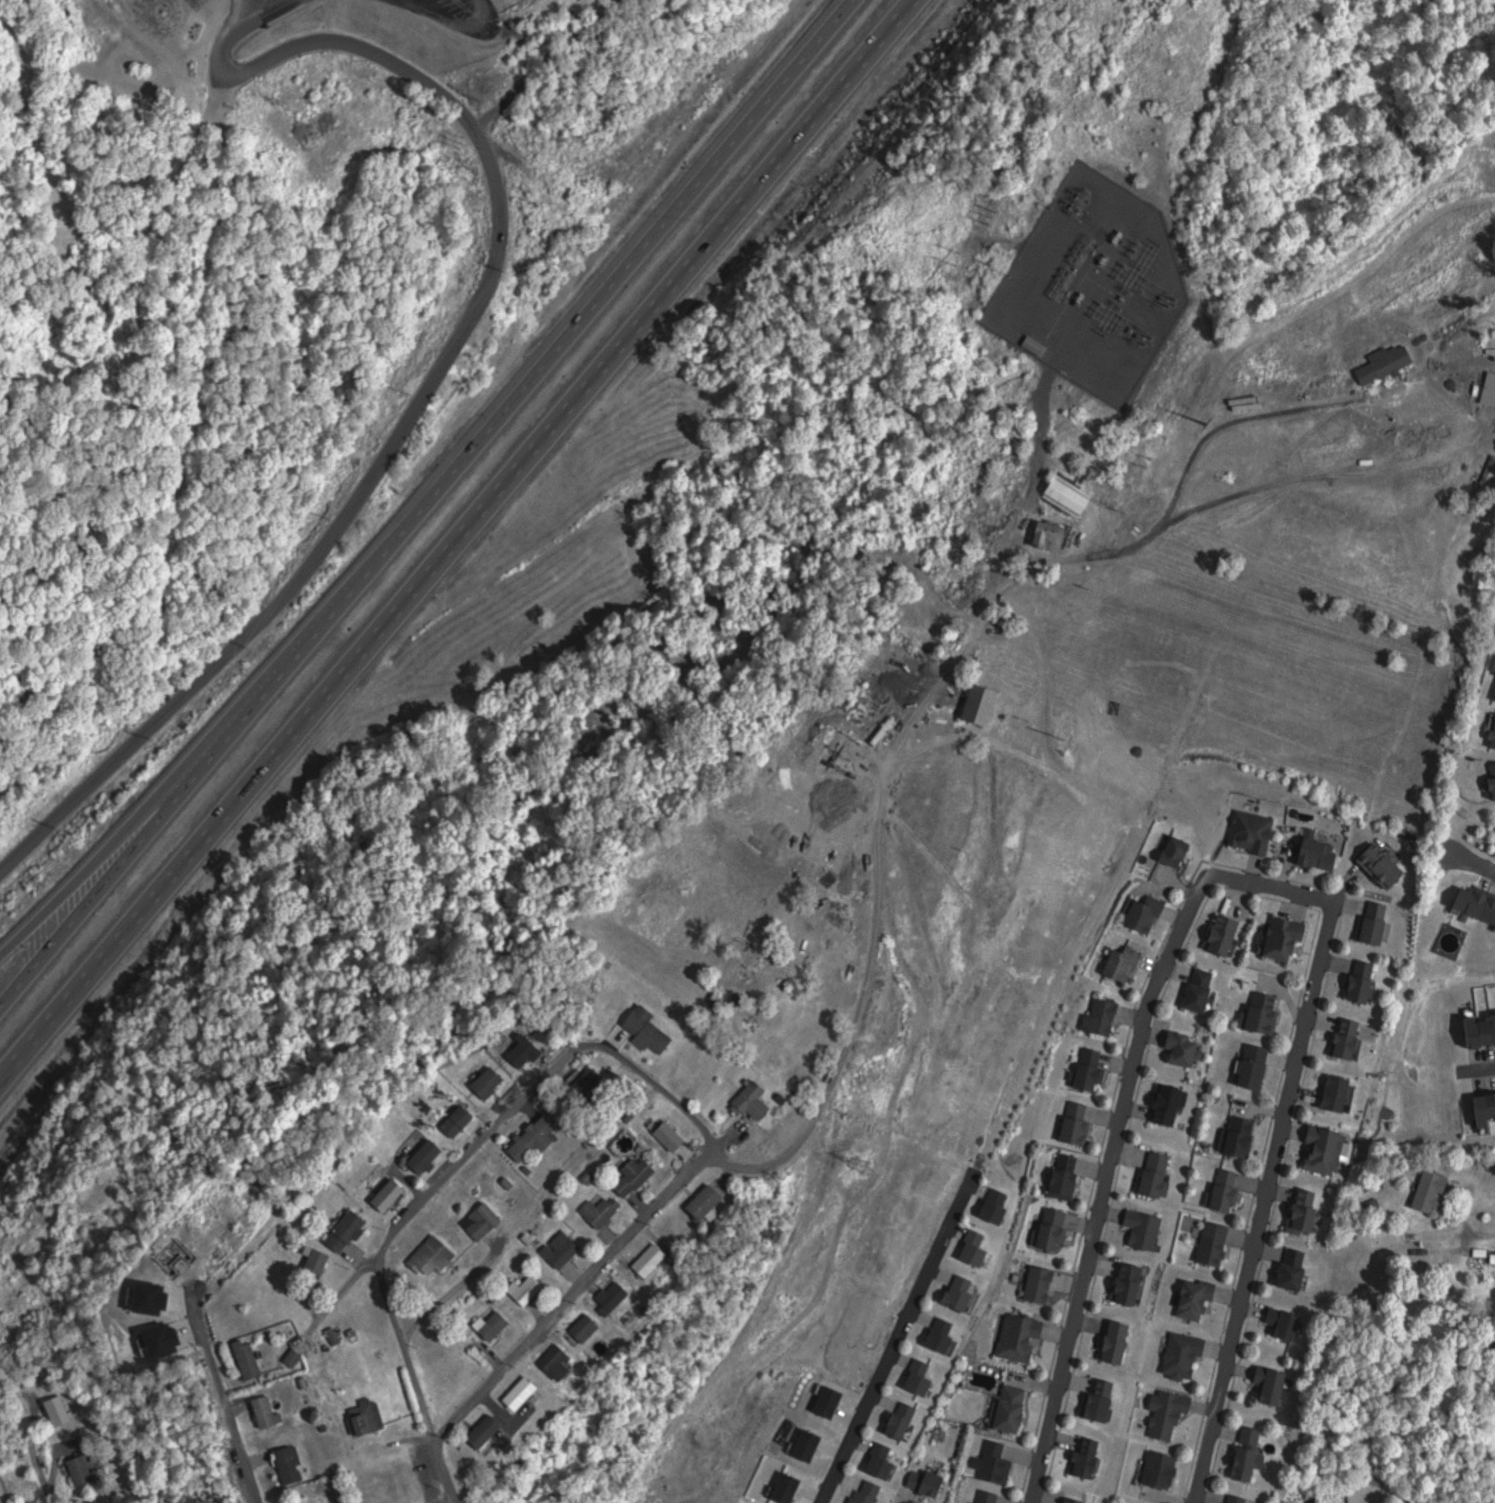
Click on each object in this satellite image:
parking lot: (458, 15)
road: (466, 26)
road: (136, 210)
power substation: (1090, 298)
building: (1037, 343)
building: (1395, 361)
road: (430, 375)
building: (1491, 389)
building: (1249, 401)
power tower: (1201, 428)
road: (1230, 495)
building: (1071, 496)
road: (426, 504)
building: (1053, 536)
road: (456, 540)
building: (985, 704)
power tower: (1058, 734)
building: (1493, 734)
building: (1494, 770)
road: (883, 801)
building: (849, 827)
building: (1250, 830)
road: (117, 843)
building: (1169, 851)
building: (1311, 851)
road: (1472, 861)
building: (1376, 864)
road: (1123, 866)
road: (1, 874)
road: (1252, 881)
building: (1477, 902)
building: (1149, 913)
building: (1370, 921)
building: (1224, 932)
building: (1287, 937)
building: (1126, 963)
building: (1365, 981)
building: (1193, 990)
building: (1266, 1011)
building: (1097, 1016)
building: (643, 1029)
building: (1482, 1029)
building: (1350, 1037)
building: (1174, 1047)
building: (522, 1050)
building: (1256, 1065)
road: (1485, 1068)
building: (1093, 1069)
building: (485, 1083)
road: (663, 1086)
building: (1331, 1092)
building: (748, 1100)
building: (1171, 1104)
building: (1487, 1109)
building: (454, 1119)
building: (1080, 1123)
building: (673, 1135)
building: (1243, 1135)
building: (529, 1137)
road: (479, 1140)
building: (1326, 1149)
building: (421, 1156)
power tower: (858, 1169)
building: (1159, 1173)
building: (1068, 1175)
building: (631, 1177)
building: (1229, 1190)
building: (1425, 1191)
building: (384, 1193)
building: (701, 1202)
building: (1000, 1206)
building: (597, 1211)
building: (1306, 1211)
building: (478, 1220)
building: (1139, 1227)
building: (1054, 1228)
building: (343, 1230)
road: (496, 1243)
building: (979, 1249)
building: (559, 1250)
building: (428, 1253)
building: (645, 1258)
building: (1494, 1258)
building: (319, 1259)
building: (1296, 1269)
building: (1033, 1283)
building: (1132, 1283)
building: (523, 1288)
building: (965, 1294)
building: (135, 1295)
road: (570, 1295)
building: (610, 1295)
building: (1198, 1299)
road: (336, 1300)
building: (1286, 1323)
building: (488, 1324)
building: (588, 1328)
building: (946, 1334)
road: (898, 1336)
building: (1023, 1337)
building: (150, 1340)
building: (1120, 1342)
building: (1186, 1356)
building: (296, 1357)
building: (243, 1359)
building: (552, 1361)
road: (416, 1374)
building: (914, 1377)
building: (1273, 1384)
building: (516, 1392)
road: (226, 1395)
building: (823, 1400)
building: (1103, 1400)
building: (1004, 1409)
building: (61, 1410)
building: (263, 1411)
building: (1170, 1413)
building: (371, 1416)
building: (905, 1420)
building: (480, 1429)
building: (802, 1444)
building: (1250, 1453)
building: (1091, 1457)
building: (885, 1461)
building: (999, 1463)
building: (287, 1464)
building: (1162, 1468)
building: (84, 1469)
road: (57, 1474)
building: (931, 1481)
building: (781, 1488)
building: (869, 1491)
building: (987, 1496)
building: (2, 1497)
building: (1237, 1498)
building: (306, 1499)
building: (99, 1501)
building: (1079, 1501)

